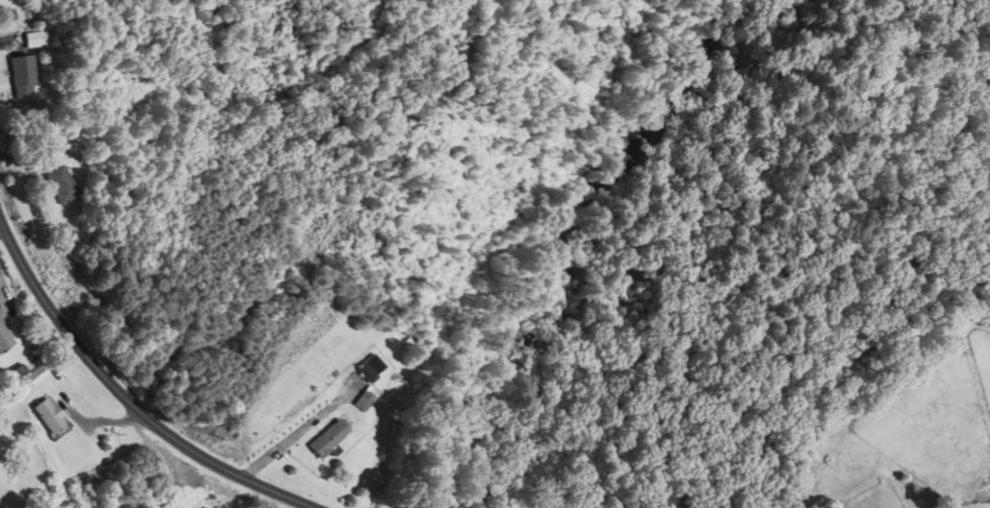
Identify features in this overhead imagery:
building: (33, 40)
building: (18, 71)
building: (61, 184)
building: (4, 338)
building: (369, 368)
building: (35, 375)
road: (124, 397)
building: (363, 398)
building: (48, 415)
building: (325, 439)

